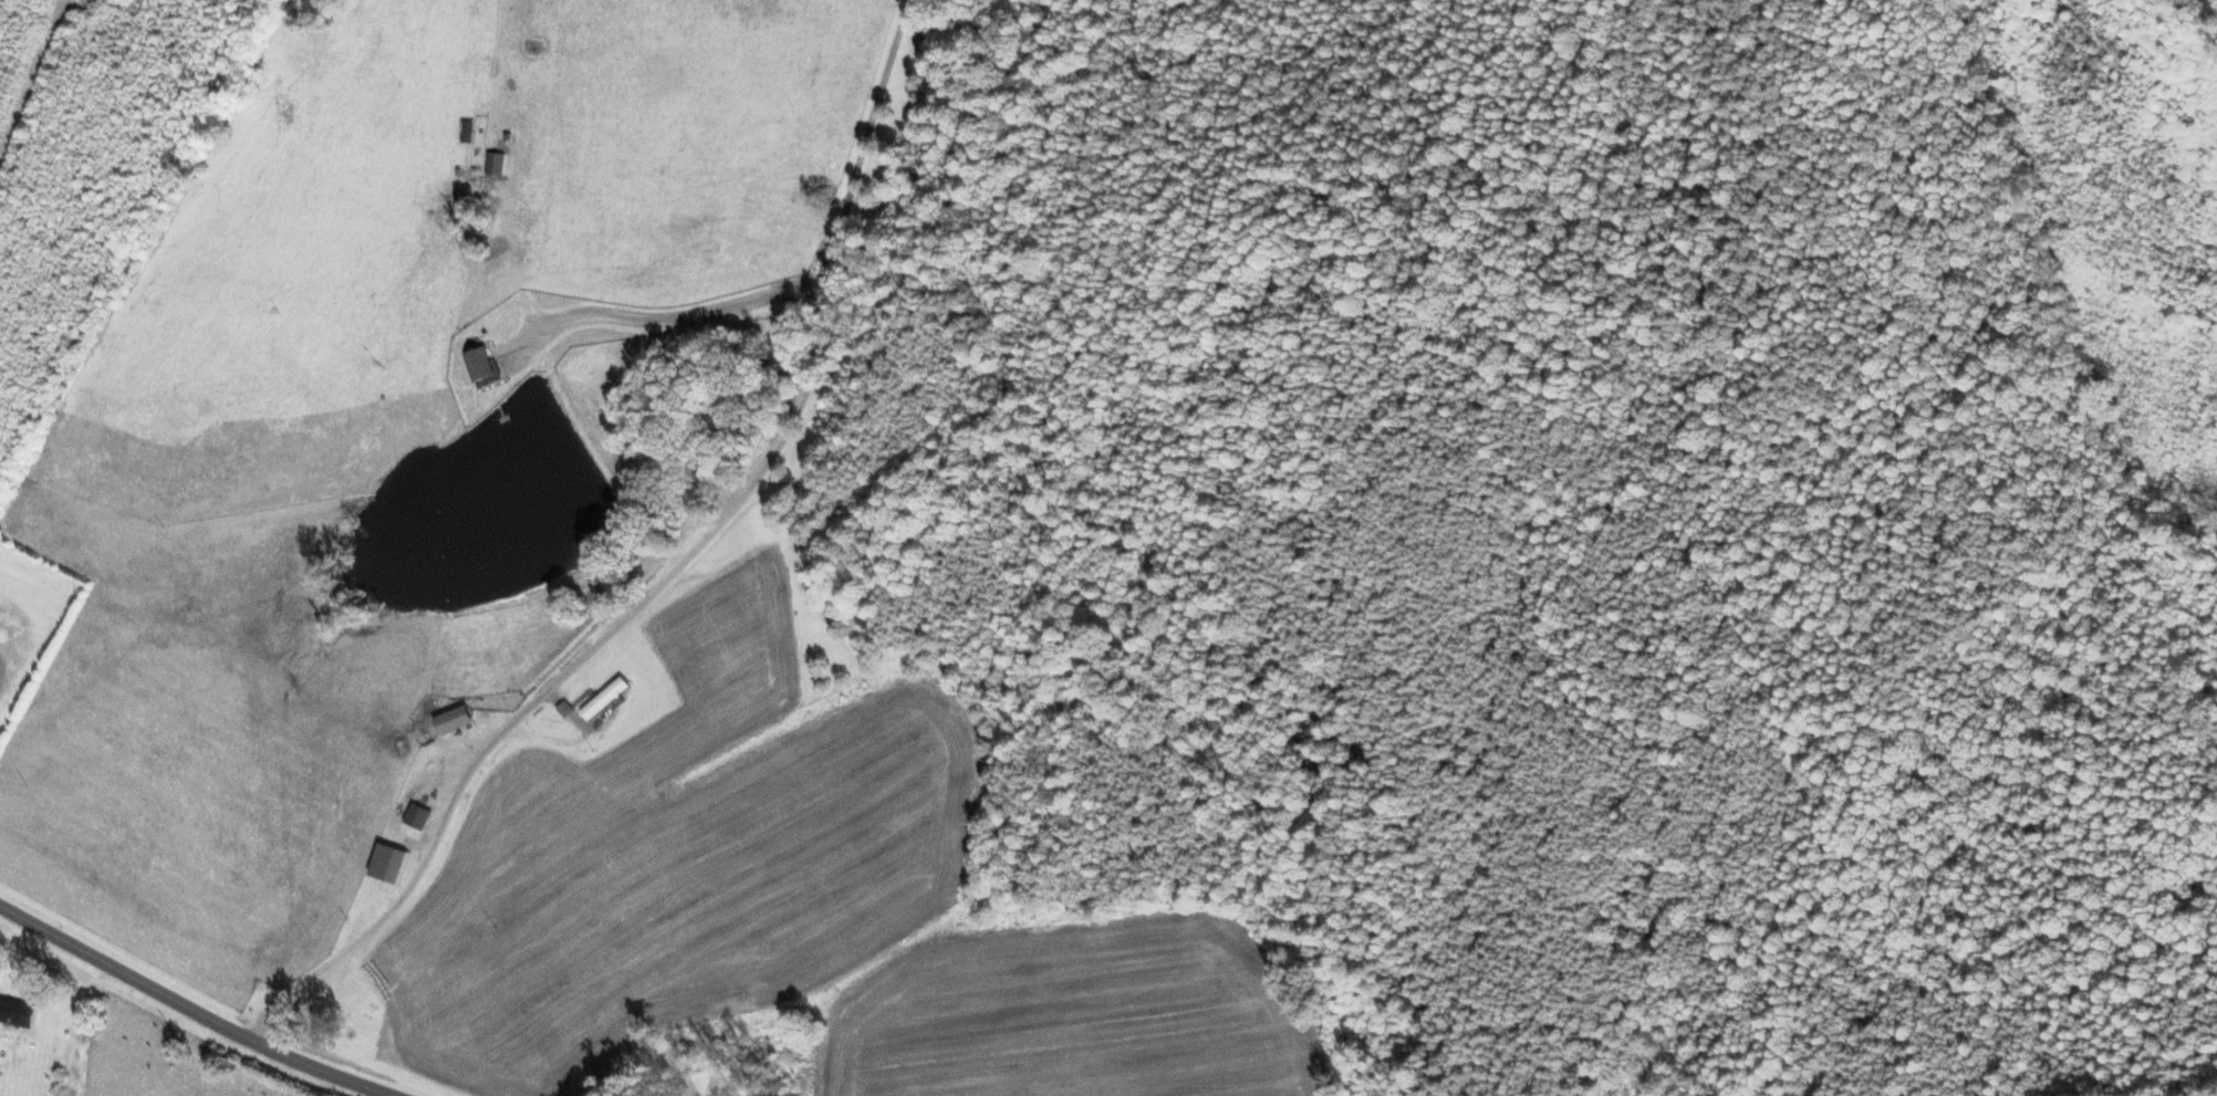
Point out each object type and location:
building: (493, 163)
road: (669, 319)
building: (479, 364)
road: (665, 575)
road: (7, 666)
building: (603, 699)
building: (416, 816)
building: (387, 864)
road: (180, 1006)
building: (15, 1012)

